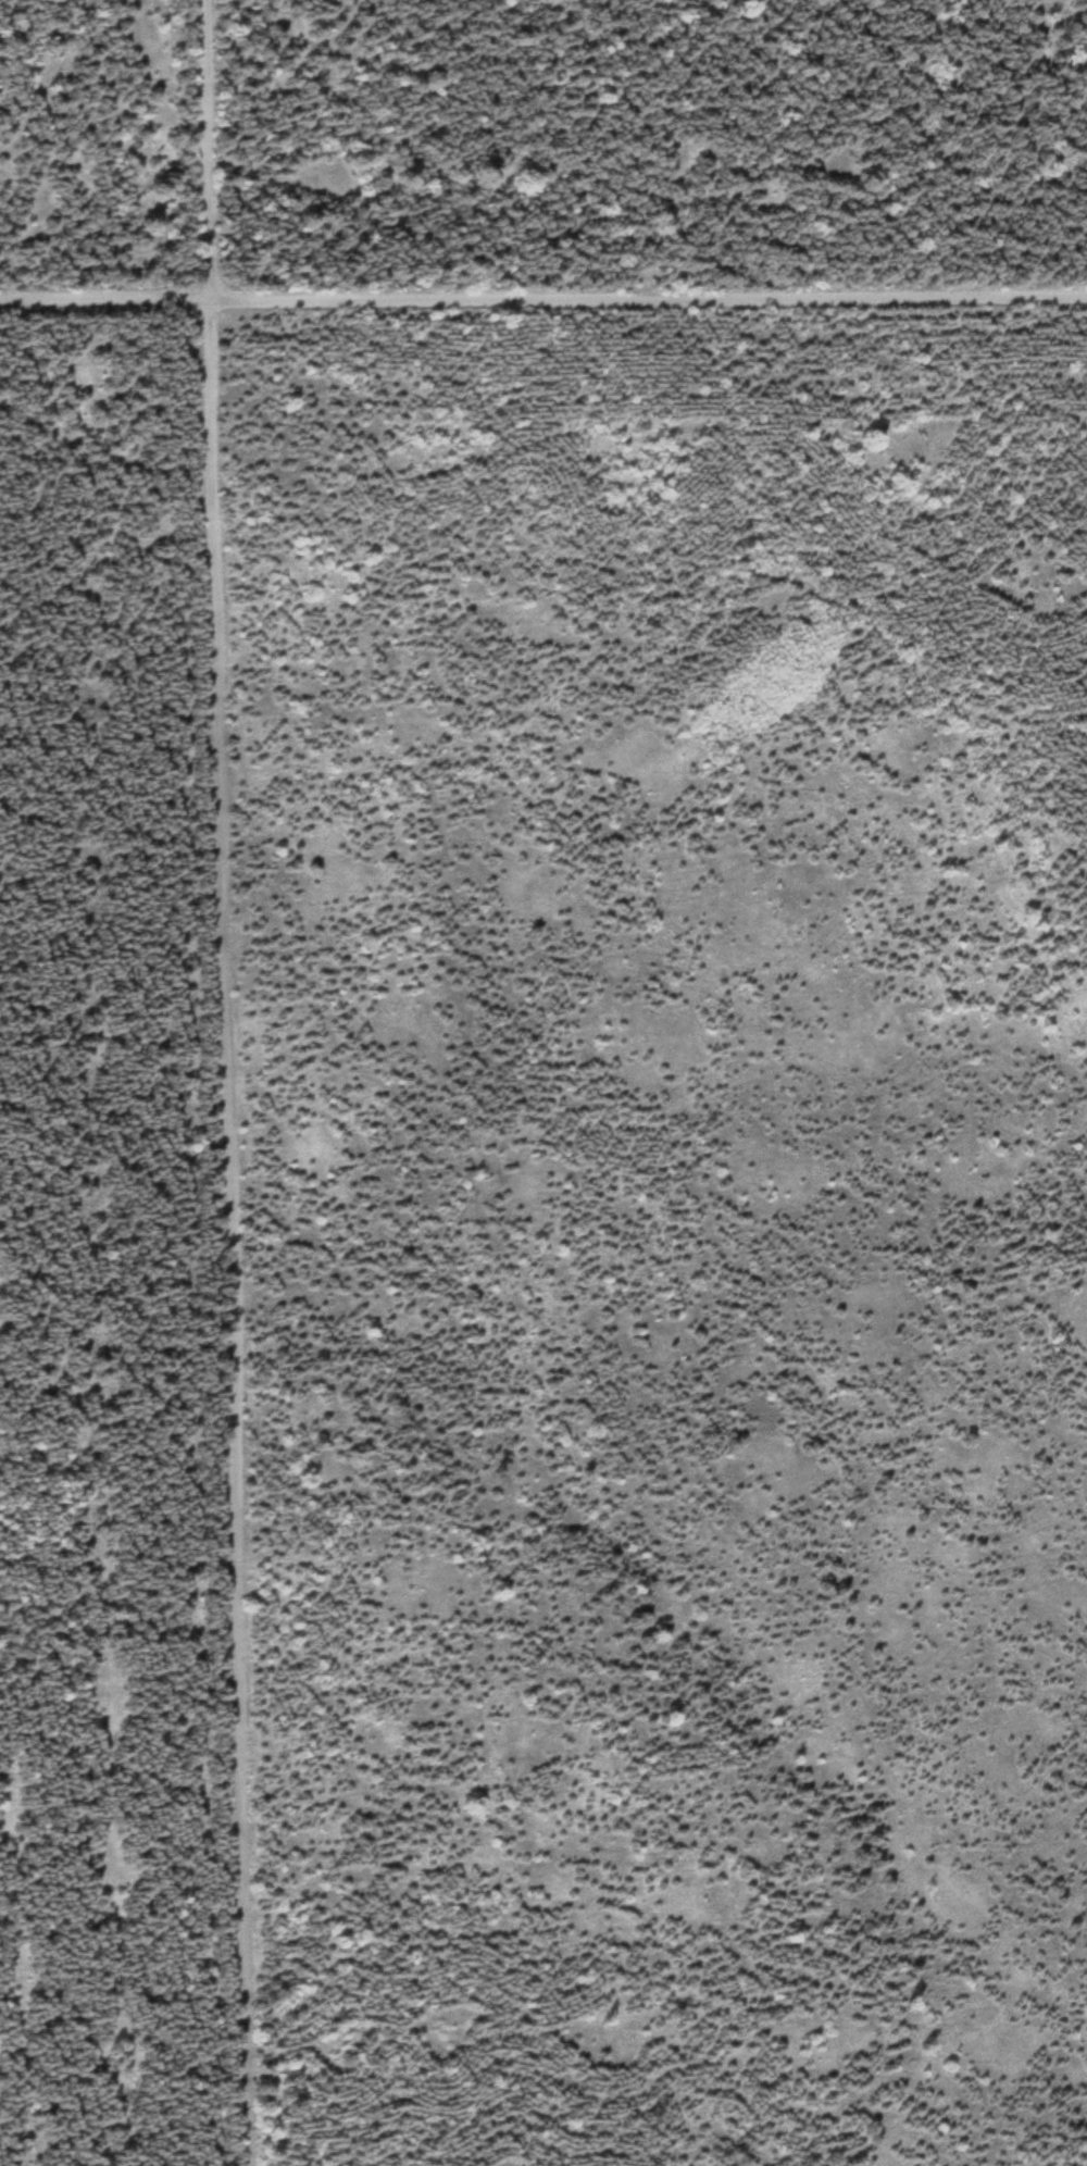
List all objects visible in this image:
road: (542, 300)
road: (232, 1083)

